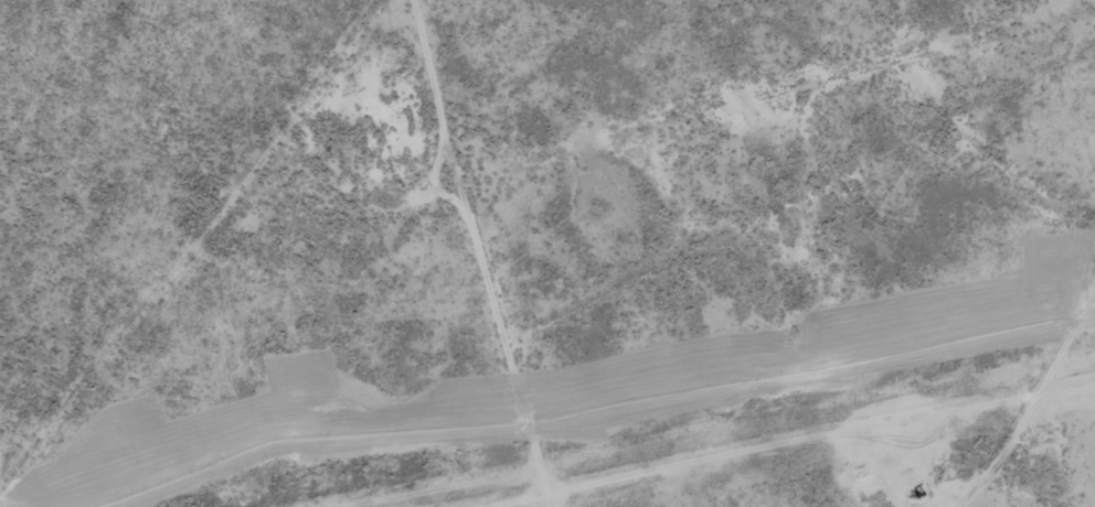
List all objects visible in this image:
road: (549, 252)
road: (613, 505)

